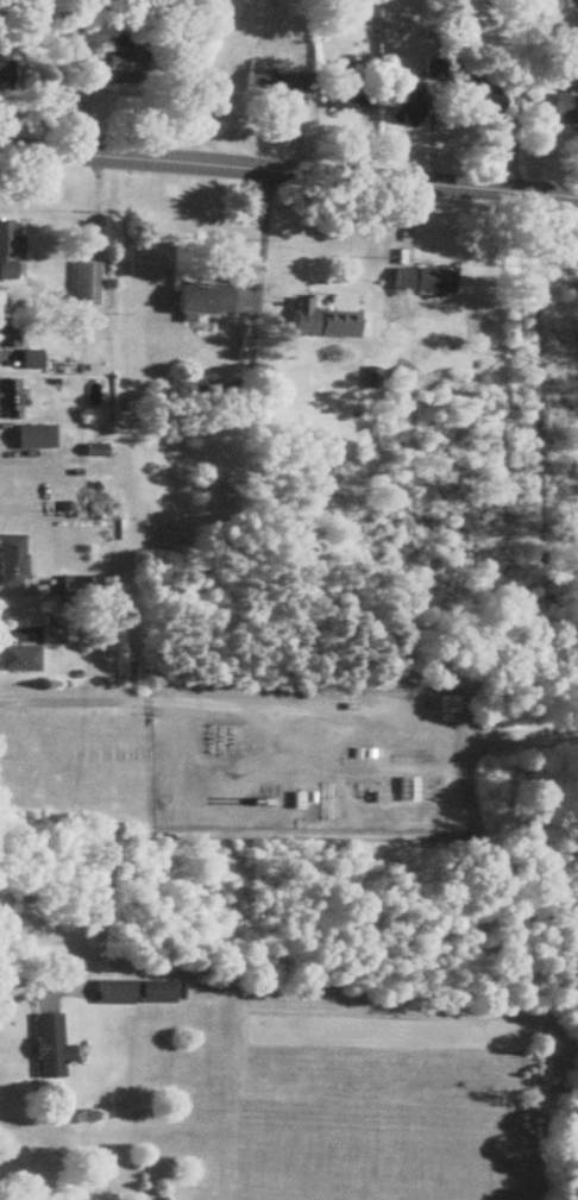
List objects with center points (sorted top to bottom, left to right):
building: (117, 67)
building: (4, 76)
building: (275, 82)
building: (338, 88)
building: (404, 102)
building: (485, 102)
building: (563, 111)
road: (289, 171)
road: (260, 243)
building: (8, 251)
building: (419, 282)
building: (84, 284)
building: (199, 301)
building: (316, 322)
building: (7, 334)
building: (29, 360)
building: (7, 401)
building: (32, 438)
building: (11, 561)
building: (51, 636)
building: (18, 660)
road: (244, 695)
building: (445, 705)
building: (403, 790)
building: (132, 992)
building: (46, 1047)

